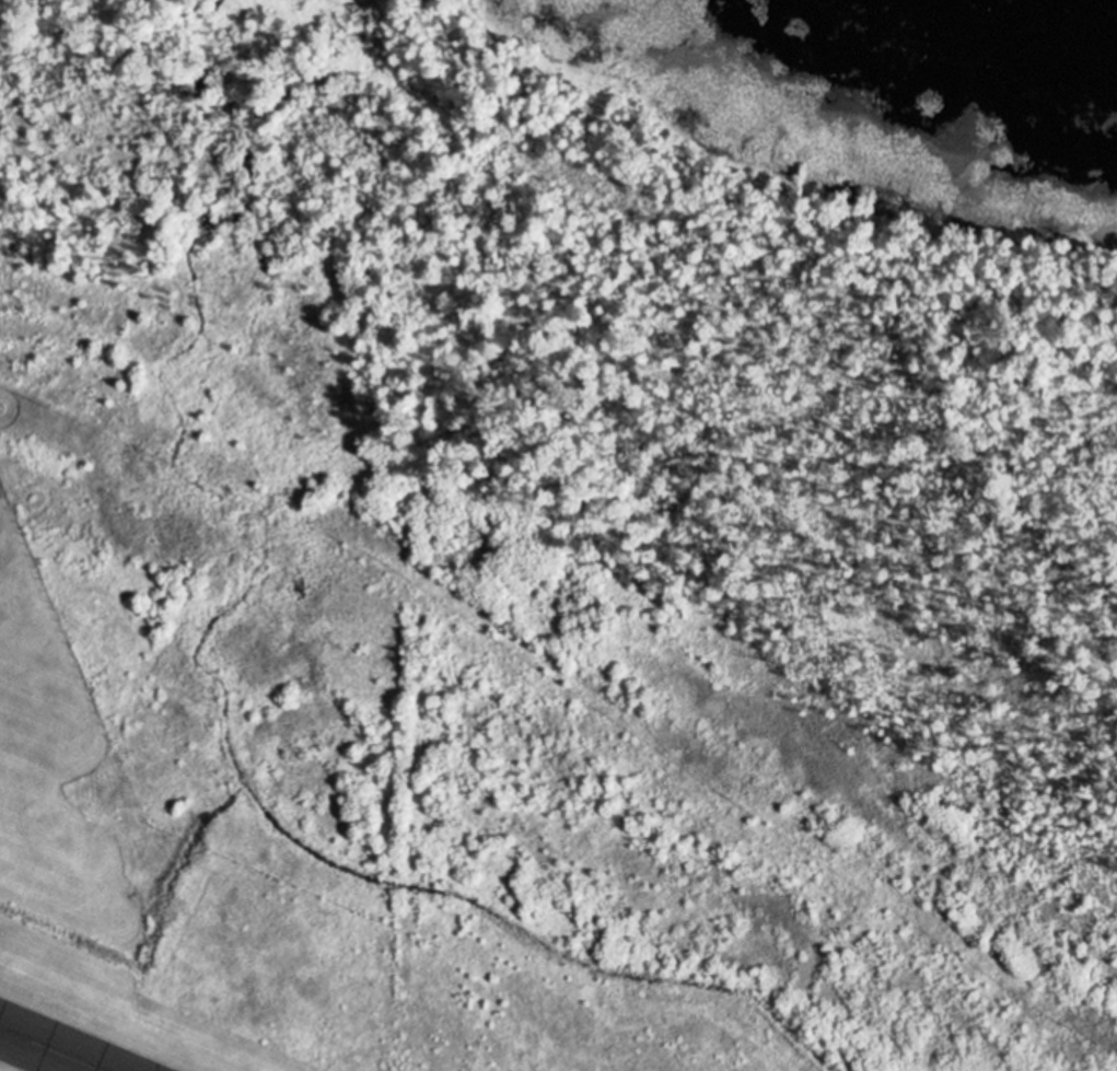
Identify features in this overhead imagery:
airport: (405, 665)
airport runway: (54, 1048)

